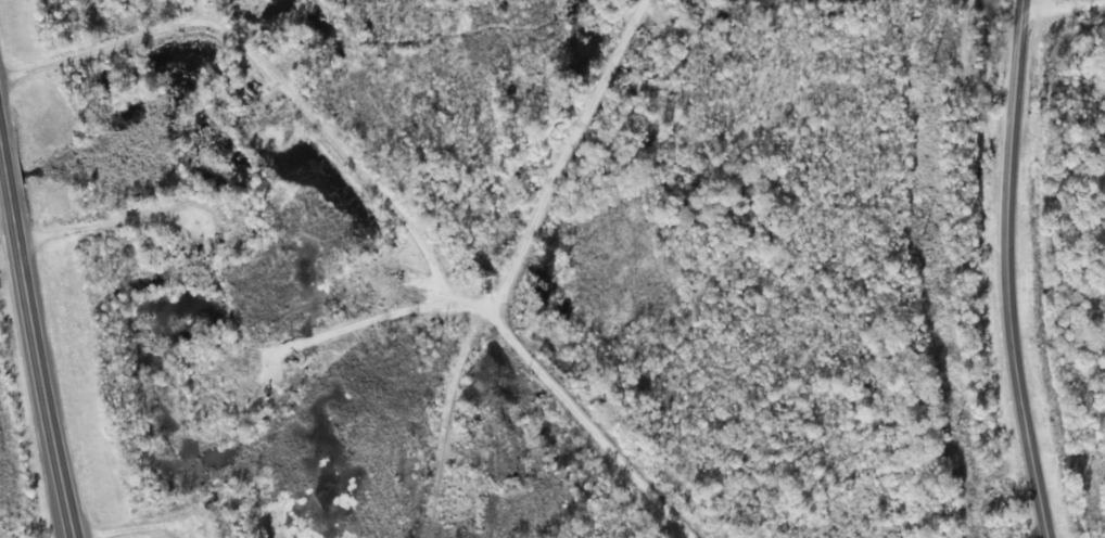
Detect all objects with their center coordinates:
road: (1038, 3)
road: (234, 64)
road: (462, 222)
road: (1005, 270)
road: (29, 294)
road: (1100, 536)

